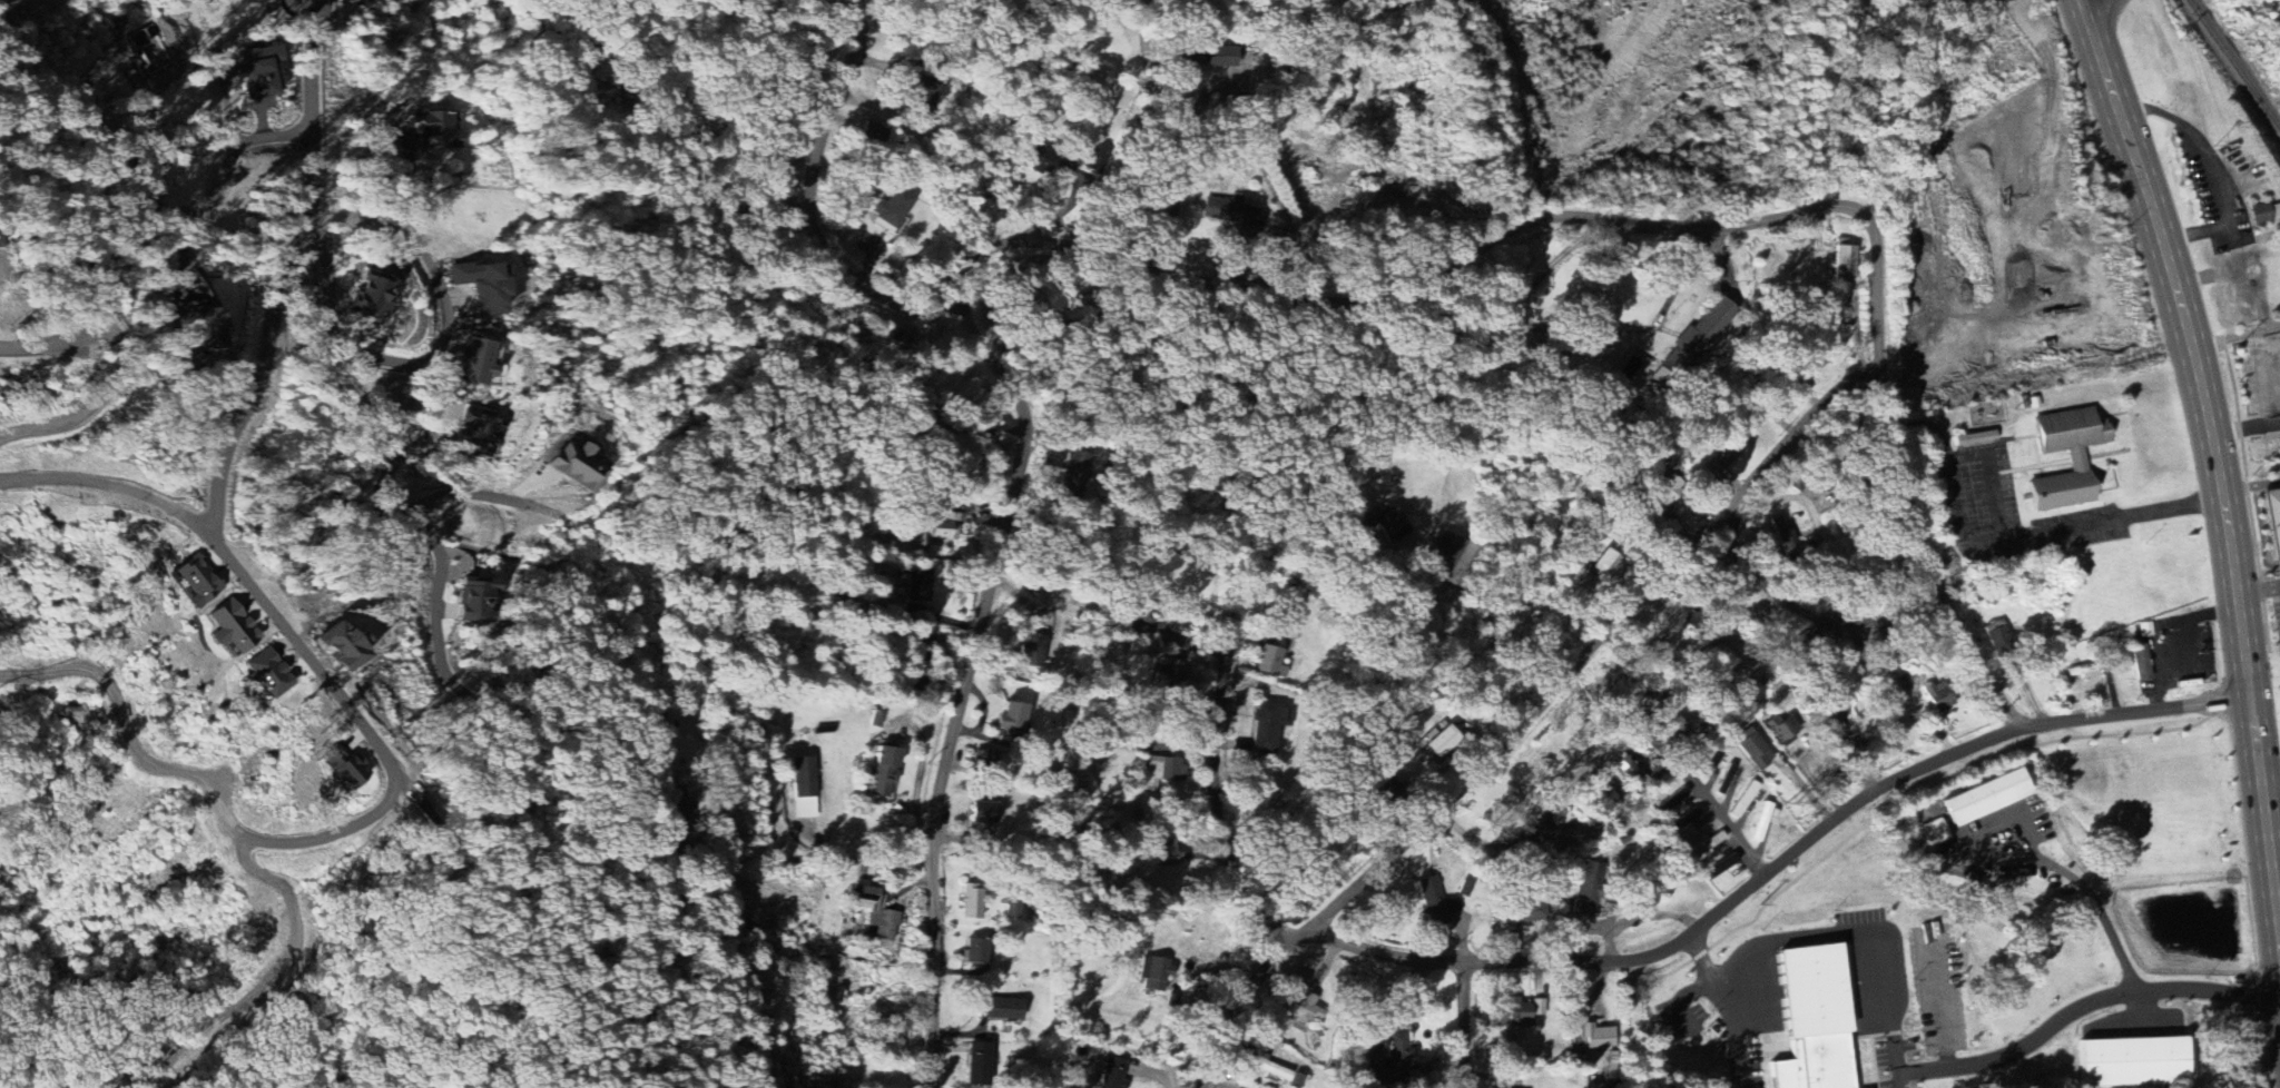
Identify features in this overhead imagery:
road: (309, 10)
building: (1205, 58)
railway: (2234, 61)
building: (257, 71)
building: (921, 93)
building: (433, 130)
building: (869, 133)
building: (1040, 161)
building: (1092, 162)
road: (1180, 181)
road: (825, 201)
road: (168, 210)
building: (892, 211)
building: (1229, 212)
building: (2276, 212)
building: (2260, 215)
road: (414, 221)
building: (1276, 240)
building: (1845, 261)
road: (275, 281)
building: (482, 286)
building: (368, 296)
road: (1272, 298)
road: (446, 320)
building: (199, 327)
building: (1604, 334)
building: (901, 335)
building: (1696, 338)
building: (475, 362)
building: (1787, 403)
road: (2245, 426)
building: (474, 434)
building: (1974, 436)
building: (1729, 447)
road: (2217, 462)
building: (2076, 463)
building: (576, 467)
building: (1073, 477)
road: (2250, 484)
road: (460, 492)
building: (1667, 492)
road: (381, 497)
building: (2274, 517)
building: (944, 526)
building: (1390, 526)
road: (1832, 542)
building: (1449, 558)
building: (1609, 566)
building: (195, 582)
building: (918, 585)
road: (2257, 586)
road: (1779, 595)
building: (474, 601)
building: (229, 629)
building: (2145, 630)
building: (1997, 635)
building: (1802, 643)
building: (340, 649)
building: (1032, 652)
building: (1268, 661)
building: (1728, 663)
building: (2142, 665)
building: (916, 672)
building: (264, 675)
building: (1167, 675)
road: (1225, 682)
building: (1938, 696)
road: (1530, 714)
building: (1011, 722)
building: (1265, 729)
building: (1780, 730)
road: (368, 733)
building: (1665, 735)
building: (1443, 743)
building: (1752, 749)
building: (985, 763)
building: (1709, 765)
building: (343, 770)
building: (1161, 772)
building: (883, 773)
road: (2269, 778)
building: (803, 789)
building: (1987, 797)
building: (1743, 800)
building: (1671, 801)
building: (680, 813)
building: (984, 813)
road: (1723, 815)
building: (1686, 819)
building: (1762, 821)
building: (1936, 832)
parking lot: (1977, 839)
building: (1708, 844)
building: (1164, 853)
road: (799, 858)
building: (1720, 867)
road: (1765, 871)
building: (1586, 890)
building: (1432, 901)
building: (971, 902)
road: (2092, 904)
building: (1530, 911)
building: (875, 912)
road: (1863, 938)
building: (974, 951)
road: (1704, 961)
building: (1153, 973)
road: (2208, 996)
building: (1537, 1008)
building: (1001, 1009)
building: (1303, 1010)
building: (1510, 1015)
building: (1814, 1020)
road: (1464, 1028)
road: (1742, 1035)
building: (1599, 1037)
road: (2021, 1046)
building: (2132, 1062)
building: (977, 1065)
building: (1389, 1065)
parking lot: (1916, 1067)
building: (1267, 1068)
building: (1111, 1074)

